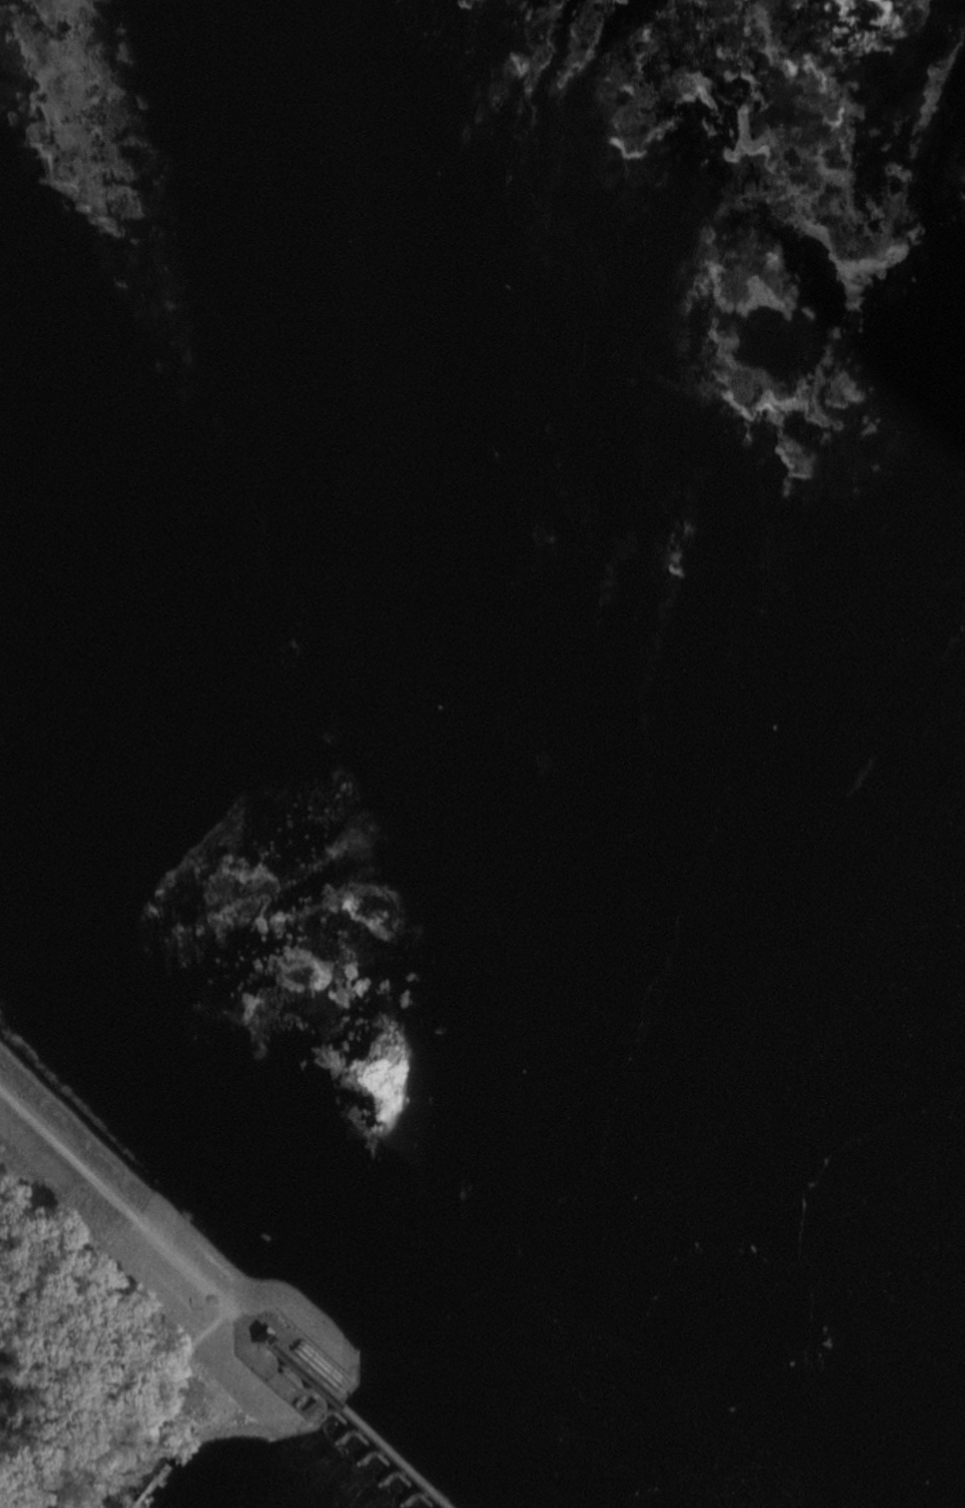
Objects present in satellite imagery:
dam: (160, 1259)
building: (252, 1337)
building: (106, 1505)

